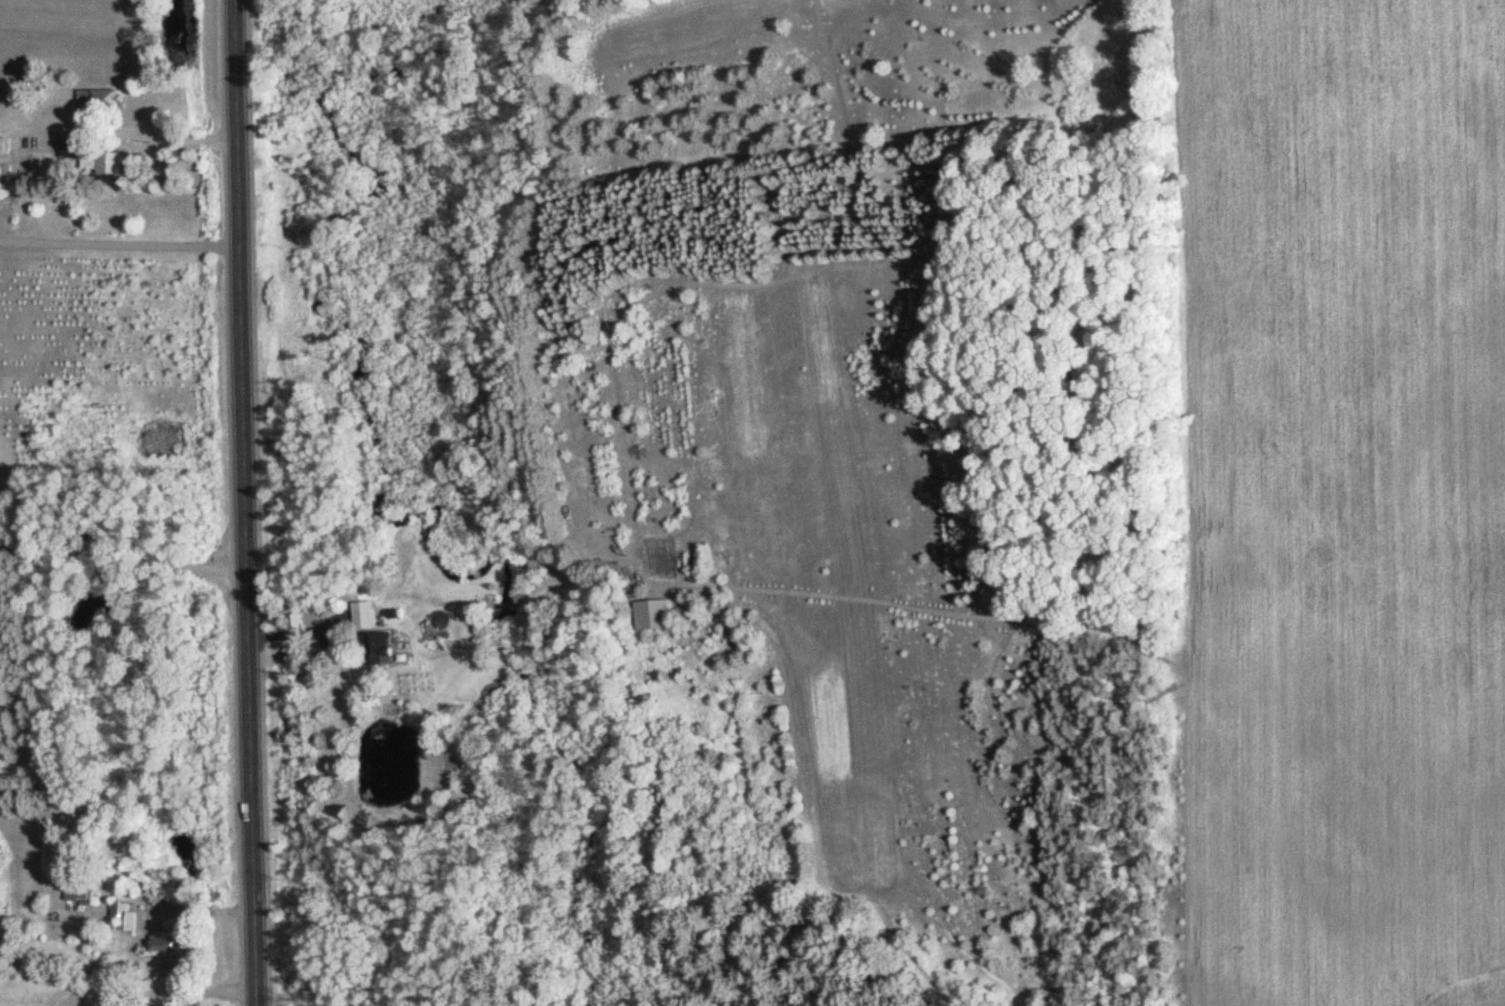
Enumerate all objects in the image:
building: (67, 96)
building: (90, 98)
building: (2, 143)
building: (71, 148)
building: (115, 163)
road: (120, 388)
road: (243, 503)
building: (377, 640)
building: (127, 917)
building: (172, 944)

